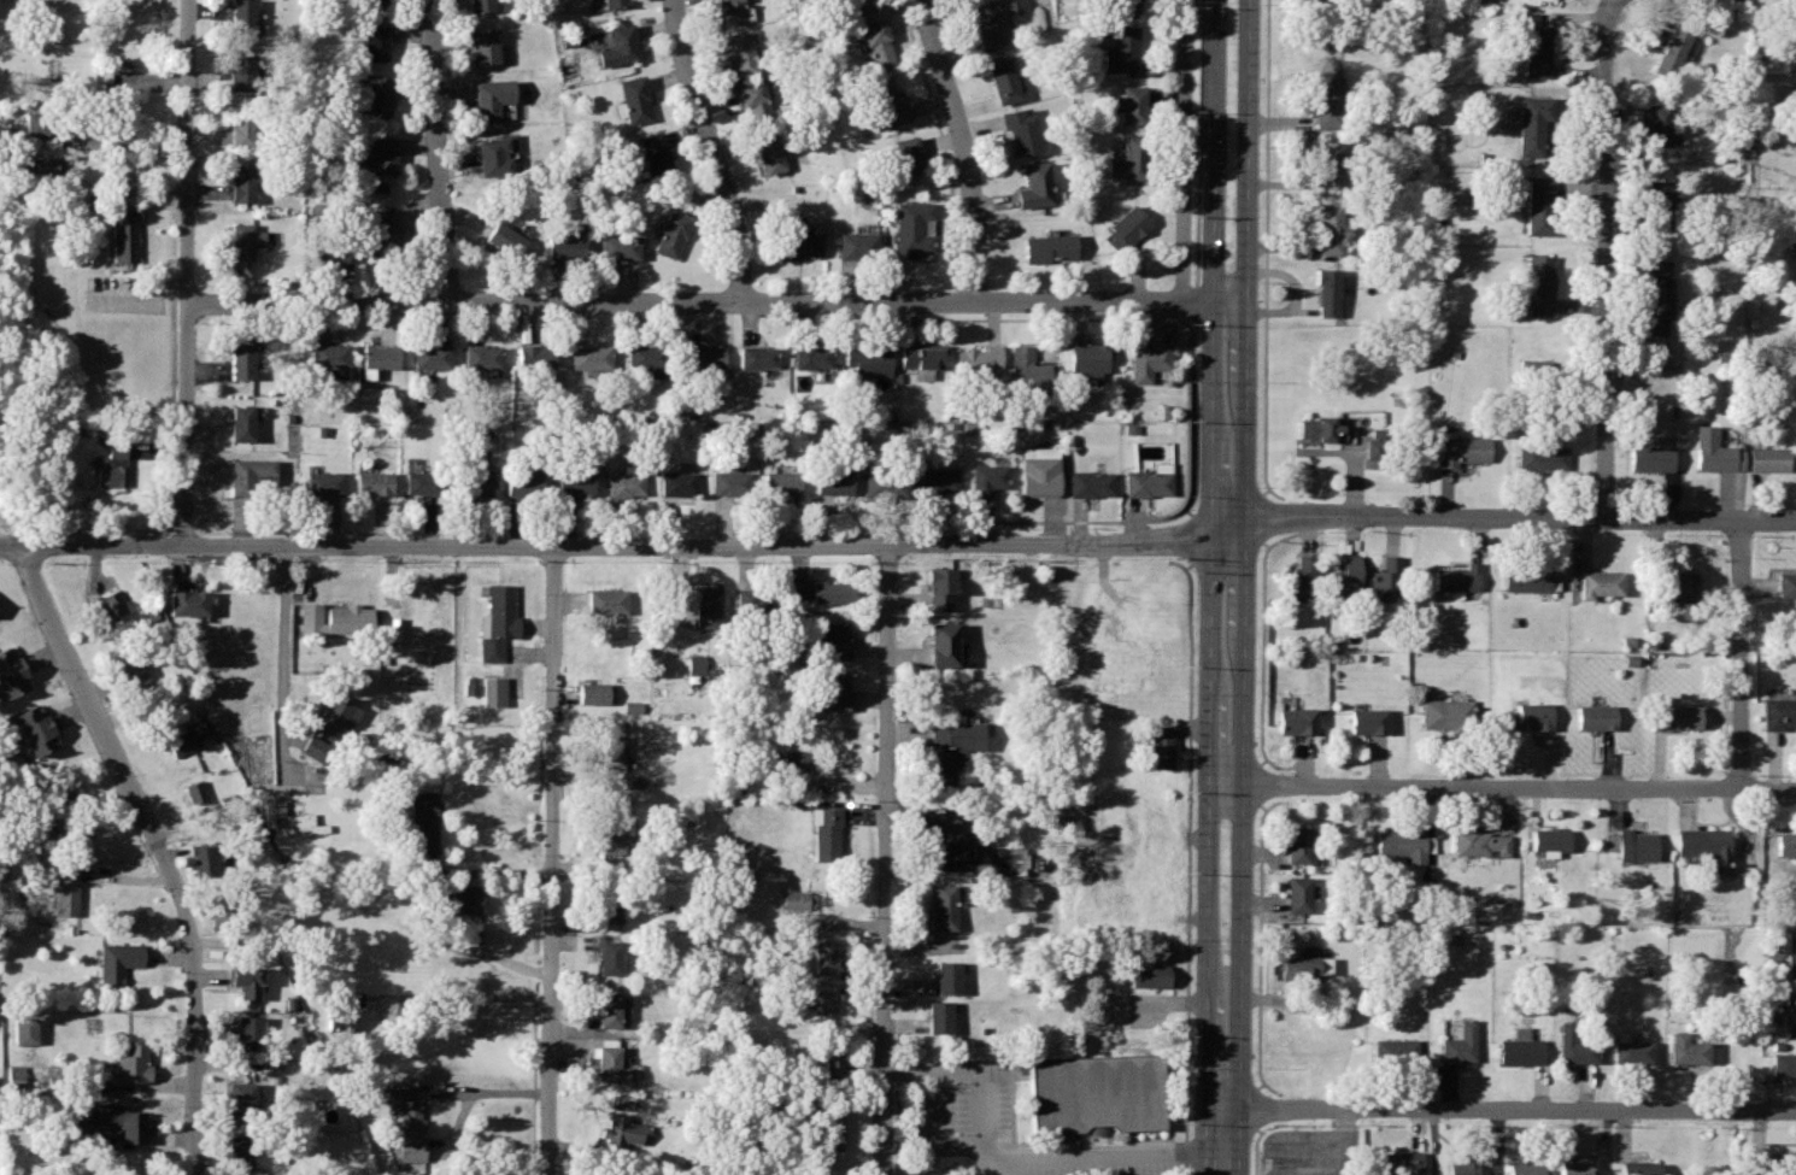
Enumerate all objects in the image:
building: (371, 1)
building: (616, 2)
building: (481, 4)
building: (863, 4)
building: (1125, 6)
building: (732, 10)
building: (242, 16)
building: (992, 22)
building: (874, 40)
building: (375, 42)
building: (1533, 42)
building: (485, 45)
building: (621, 45)
building: (1671, 47)
building: (1120, 48)
building: (739, 52)
building: (241, 70)
building: (100, 75)
building: (1004, 80)
building: (493, 96)
building: (377, 98)
building: (635, 98)
building: (753, 99)
building: (1328, 100)
building: (887, 101)
building: (1132, 102)
building: (40, 122)
building: (1532, 122)
building: (1656, 122)
building: (242, 127)
building: (1021, 129)
road: (941, 141)
road: (1201, 142)
road: (123, 145)
road: (963, 147)
road: (711, 148)
road: (439, 149)
road: (1186, 149)
building: (655, 151)
building: (768, 151)
building: (497, 153)
building: (381, 154)
building: (909, 157)
building: (1129, 157)
building: (1330, 161)
building: (39, 163)
building: (243, 180)
building: (1035, 187)
building: (1539, 202)
building: (1657, 204)
building: (1795, 216)
building: (1126, 224)
building: (1330, 225)
building: (911, 228)
building: (673, 231)
building: (123, 234)
building: (378, 234)
building: (243, 237)
building: (505, 237)
building: (568, 242)
building: (327, 243)
building: (797, 243)
building: (618, 245)
building: (857, 246)
building: (1792, 246)
building: (1050, 247)
road: (1266, 251)
road: (1248, 258)
road: (1601, 258)
road: (188, 274)
building: (1538, 282)
building: (1328, 289)
road: (956, 294)
parking lot: (125, 295)
building: (1656, 295)
road: (718, 299)
road: (1196, 307)
road: (1023, 317)
road: (855, 322)
building: (327, 353)
building: (429, 354)
building: (481, 354)
building: (533, 354)
building: (589, 354)
building: (646, 354)
building: (757, 356)
building: (812, 356)
building: (925, 356)
building: (241, 357)
building: (376, 357)
building: (1090, 358)
building: (700, 359)
building: (978, 359)
building: (1149, 359)
building: (870, 362)
building: (1533, 368)
building: (1027, 370)
road: (1192, 418)
building: (241, 421)
building: (1321, 427)
building: (1377, 431)
building: (1460, 446)
building: (1714, 448)
building: (1373, 452)
building: (1538, 452)
building: (1650, 456)
building: (1768, 458)
building: (112, 464)
building: (248, 471)
building: (1038, 475)
building: (986, 477)
building: (524, 478)
building: (834, 478)
building: (882, 480)
building: (323, 481)
building: (372, 481)
building: (421, 481)
building: (474, 481)
building: (729, 481)
building: (934, 481)
building: (1090, 481)
building: (1146, 481)
building: (575, 482)
building: (626, 482)
building: (676, 482)
building: (781, 482)
road: (1226, 501)
road: (1187, 511)
road: (1261, 516)
road: (896, 518)
road: (1521, 518)
road: (1022, 519)
road: (1305, 535)
road: (1192, 539)
road: (717, 545)
road: (90, 550)
road: (1225, 550)
road: (1210, 556)
building: (1299, 576)
building: (1345, 576)
building: (1385, 576)
building: (1456, 576)
building: (1528, 576)
building: (1598, 582)
building: (1674, 582)
building: (1786, 583)
building: (938, 586)
building: (822, 592)
building: (752, 600)
building: (189, 601)
building: (608, 601)
building: (706, 605)
building: (108, 607)
building: (335, 617)
building: (495, 619)
building: (394, 628)
building: (834, 639)
building: (943, 641)
road: (1261, 651)
road: (1741, 653)
building: (7, 658)
road: (286, 663)
building: (698, 664)
building: (130, 665)
building: (12, 680)
building: (493, 689)
building: (834, 691)
building: (592, 692)
building: (630, 706)
building: (1778, 711)
building: (1446, 712)
building: (1528, 715)
building: (1595, 715)
building: (1675, 715)
building: (334, 716)
building: (30, 717)
building: (1297, 718)
building: (1368, 718)
building: (39, 738)
building: (182, 740)
building: (951, 745)
building: (1162, 747)
building: (319, 748)
building: (612, 751)
road: (1304, 758)
building: (798, 759)
building: (632, 782)
road: (1260, 783)
road: (1503, 786)
building: (194, 789)
road: (1243, 813)
building: (57, 815)
building: (292, 818)
building: (423, 821)
building: (826, 834)
building: (611, 835)
building: (1548, 839)
building: (1478, 841)
building: (1428, 842)
building: (1785, 842)
building: (1297, 844)
building: (1401, 844)
building: (1637, 844)
building: (1704, 844)
building: (958, 846)
road: (159, 852)
building: (203, 857)
road: (886, 858)
road: (551, 860)
building: (1426, 887)
building: (66, 891)
building: (1297, 893)
building: (462, 898)
building: (793, 899)
building: (610, 904)
building: (941, 905)
building: (225, 915)
road: (1260, 944)
building: (1788, 948)
building: (610, 956)
building: (824, 957)
road: (497, 959)
building: (119, 962)
building: (1302, 968)
building: (946, 974)
building: (1149, 975)
building: (246, 979)
road: (462, 998)
building: (822, 999)
building: (1790, 1000)
building: (342, 1007)
building: (612, 1009)
parking lot: (1148, 1011)
building: (939, 1015)
building: (24, 1029)
building: (248, 1030)
building: (1458, 1042)
building: (1574, 1044)
building: (1521, 1047)
building: (1632, 1047)
building: (1688, 1048)
building: (1393, 1050)
building: (833, 1062)
building: (1783, 1062)
building: (133, 1063)
building: (615, 1063)
building: (14, 1074)
road: (905, 1074)
road: (923, 1080)
road: (479, 1092)
building: (1094, 1092)
building: (241, 1101)
road: (1255, 1106)
road: (1509, 1110)
building: (83, 1120)
building: (123, 1120)
building: (410, 1121)
parking lot: (999, 1126)
building: (827, 1128)
building: (621, 1130)
road: (1225, 1141)
road: (1342, 1142)
road: (1254, 1144)
building: (240, 1152)
road: (1097, 1161)
building: (1780, 1161)
building: (1401, 1162)
building: (1463, 1164)
building: (1574, 1168)
building: (1639, 1168)
building: (1527, 1169)
building: (604, 1174)

